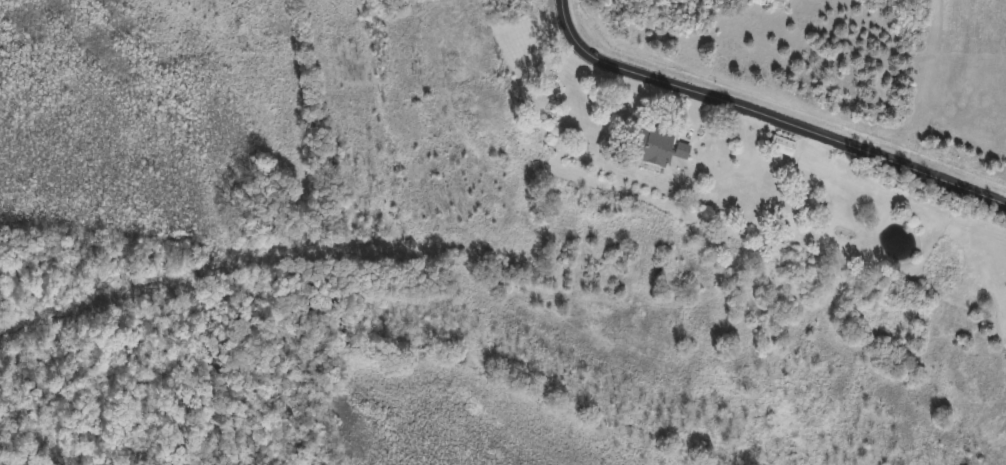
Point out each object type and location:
road: (766, 119)
building: (656, 143)

